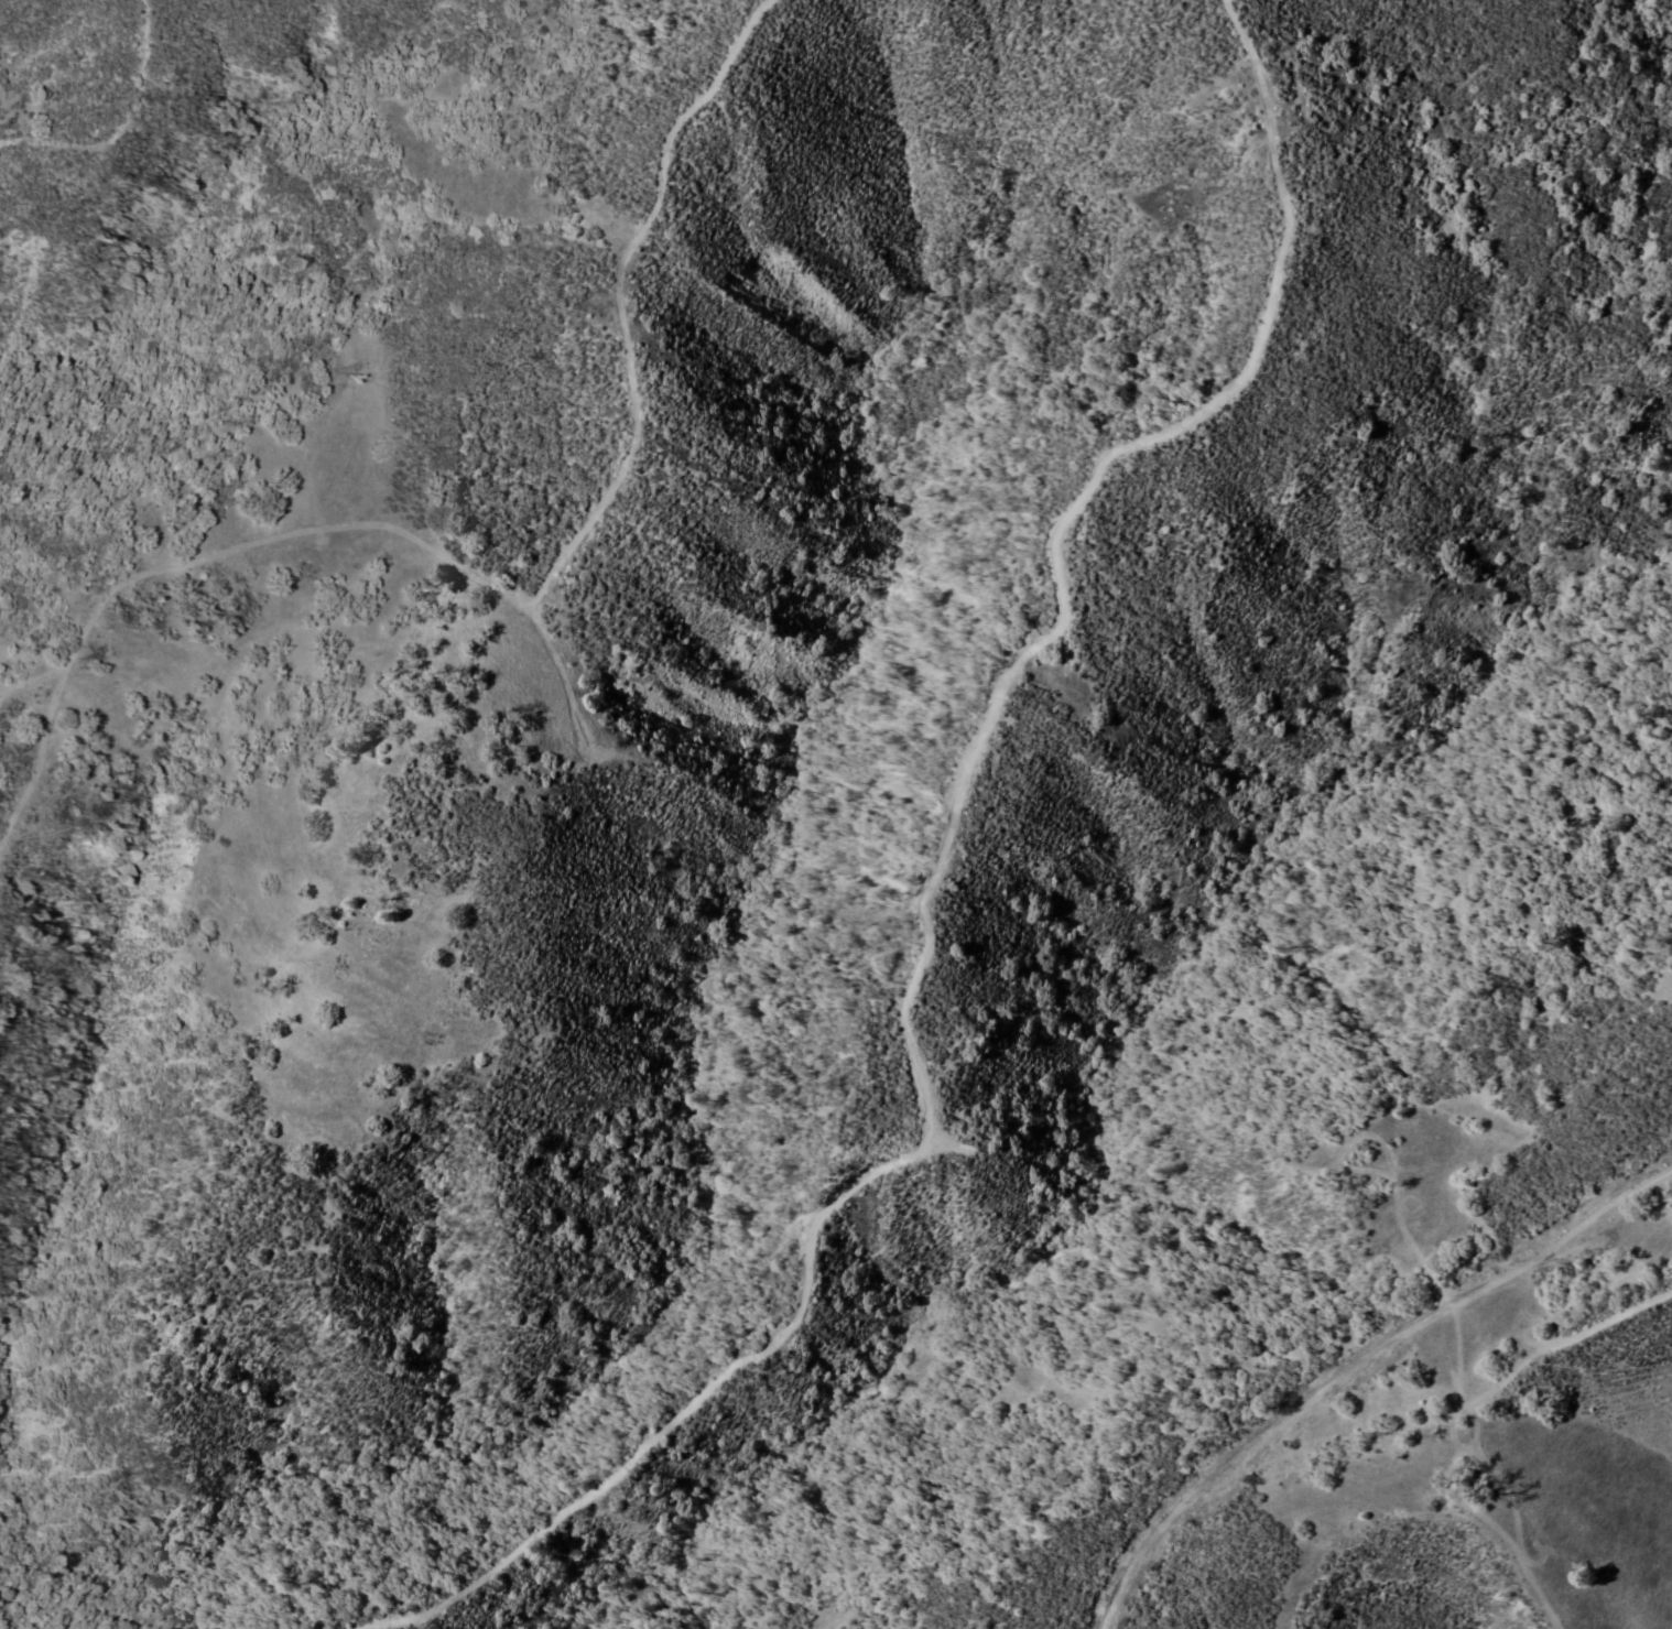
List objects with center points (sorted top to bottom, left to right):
road: (1354, 1364)

